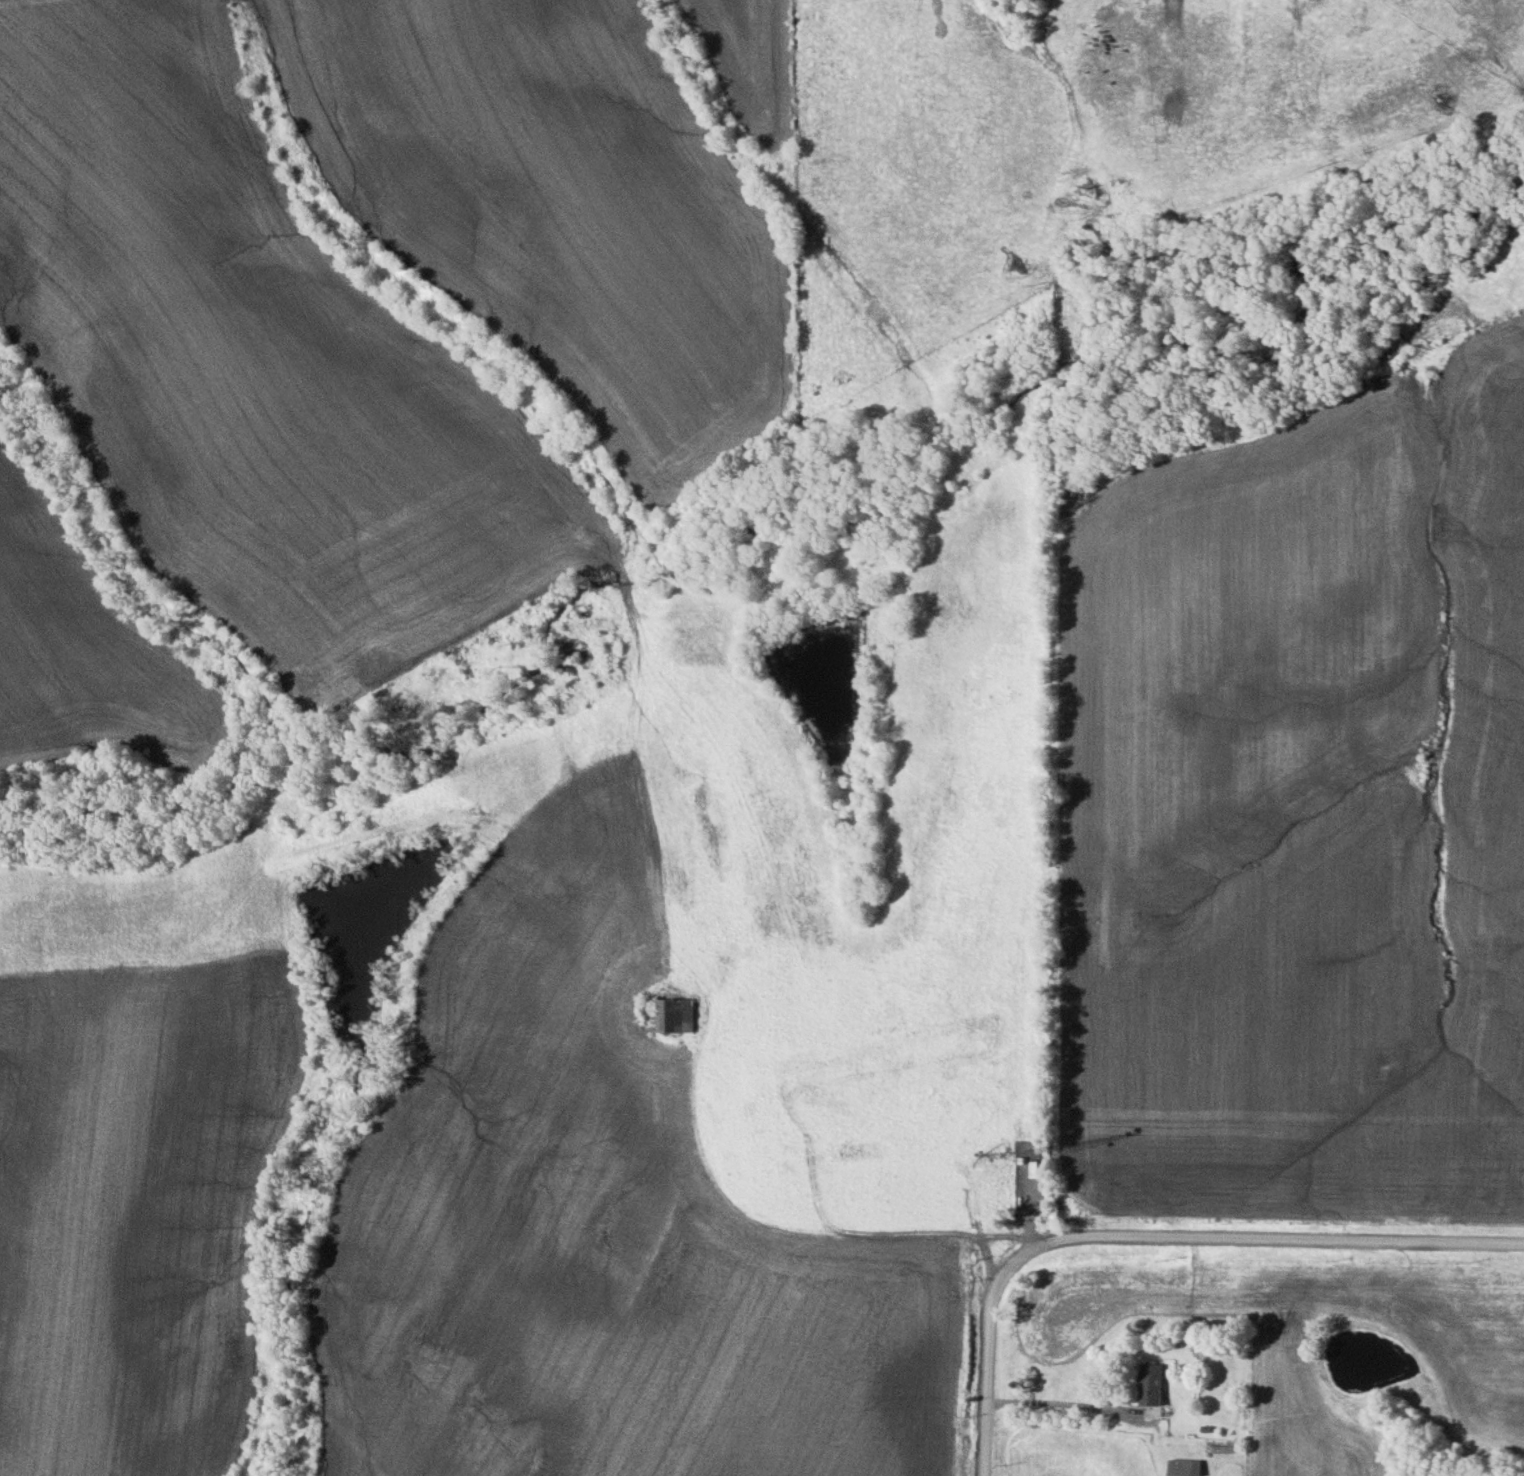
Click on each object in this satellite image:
crop: (749, 59)
crop: (555, 205)
crop: (252, 367)
crop: (83, 647)
crop: (1299, 813)
building: (671, 1016)
crop: (137, 1209)
road: (779, 1227)
crop: (590, 1236)
road: (1154, 1240)
building: (1149, 1384)
road: (1069, 1406)
building: (1183, 1467)

